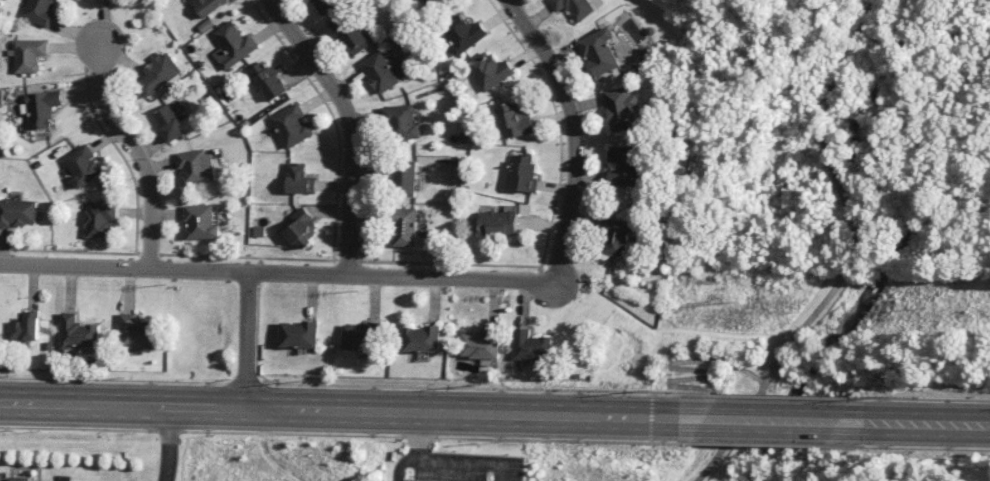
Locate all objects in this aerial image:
building: (428, 2)
building: (324, 5)
building: (206, 6)
building: (574, 8)
building: (38, 11)
building: (349, 31)
building: (461, 33)
road: (850, 43)
building: (232, 45)
building: (599, 51)
building: (28, 54)
building: (487, 70)
building: (158, 72)
building: (381, 72)
building: (268, 81)
building: (41, 108)
building: (622, 109)
building: (513, 120)
building: (170, 121)
building: (401, 122)
road: (348, 124)
building: (291, 125)
road: (572, 132)
road: (129, 141)
building: (623, 165)
building: (83, 166)
building: (197, 167)
building: (520, 173)
building: (402, 177)
building: (298, 179)
building: (17, 212)
building: (99, 219)
building: (201, 221)
building: (497, 223)
building: (404, 226)
building: (302, 228)
building: (616, 235)
road: (276, 271)
road: (826, 297)
building: (24, 327)
building: (77, 332)
building: (136, 333)
building: (299, 334)
building: (360, 336)
building: (419, 339)
road: (246, 340)
building: (481, 343)
building: (530, 346)
road: (691, 369)
power tower: (123, 377)
power tower: (307, 380)
power tower: (485, 385)
road: (478, 388)
power tower: (655, 389)
power tower: (896, 394)
road: (787, 396)
road: (924, 399)
road: (339, 411)
road: (774, 421)
road: (930, 425)
road: (168, 444)
building: (16, 479)
road: (59, 480)

